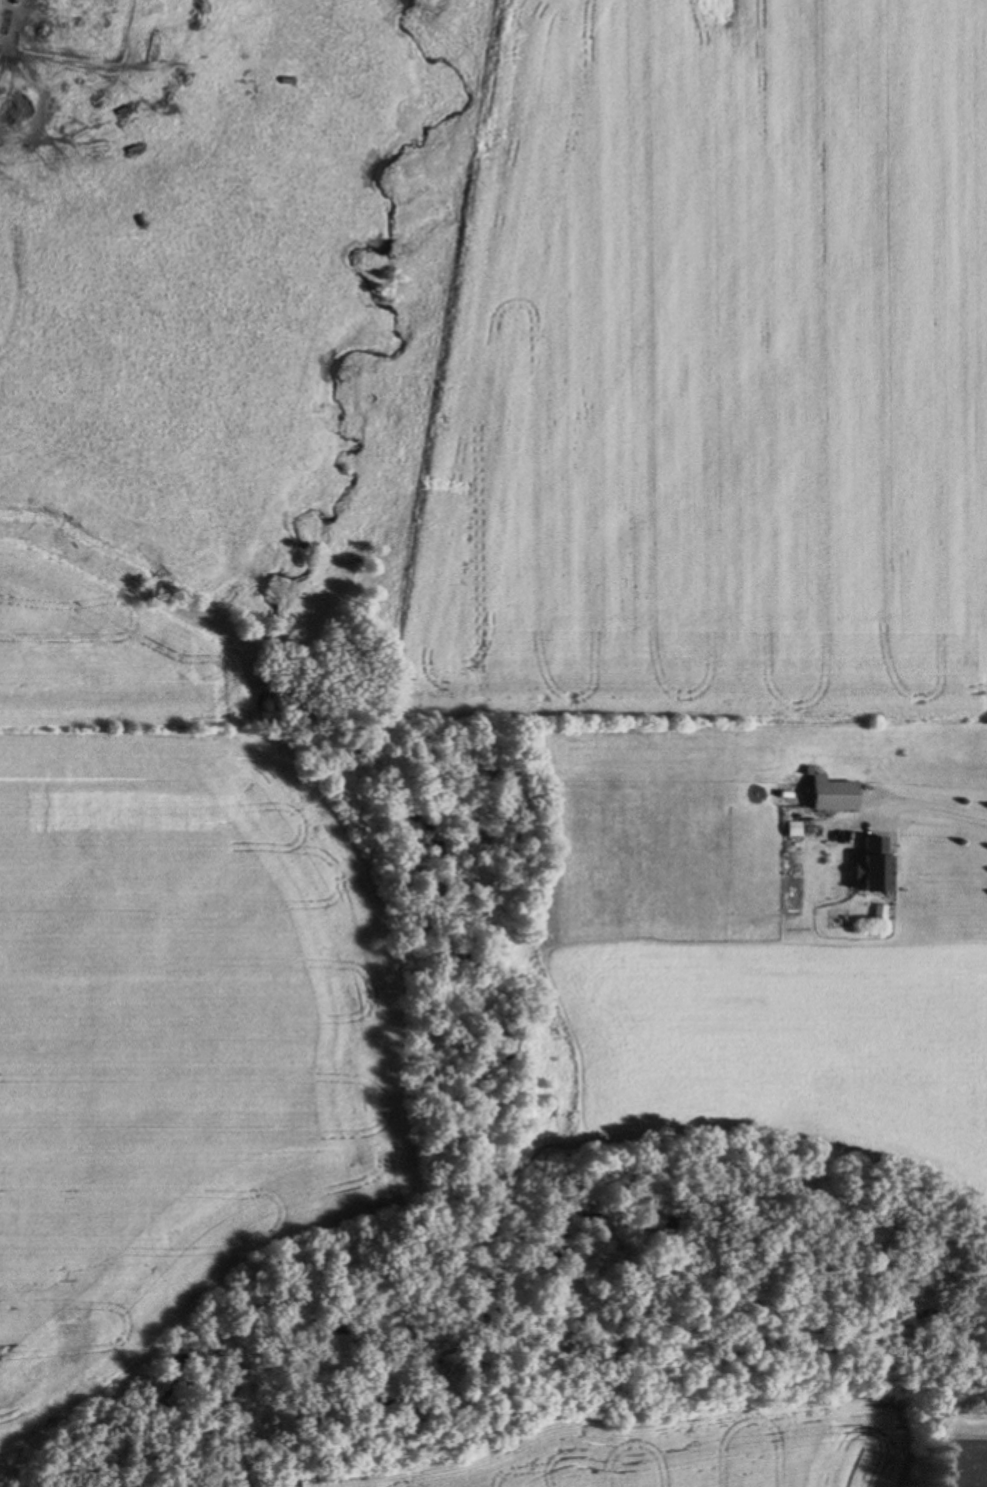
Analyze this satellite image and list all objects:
building: (827, 794)
road: (929, 802)
building: (867, 865)

